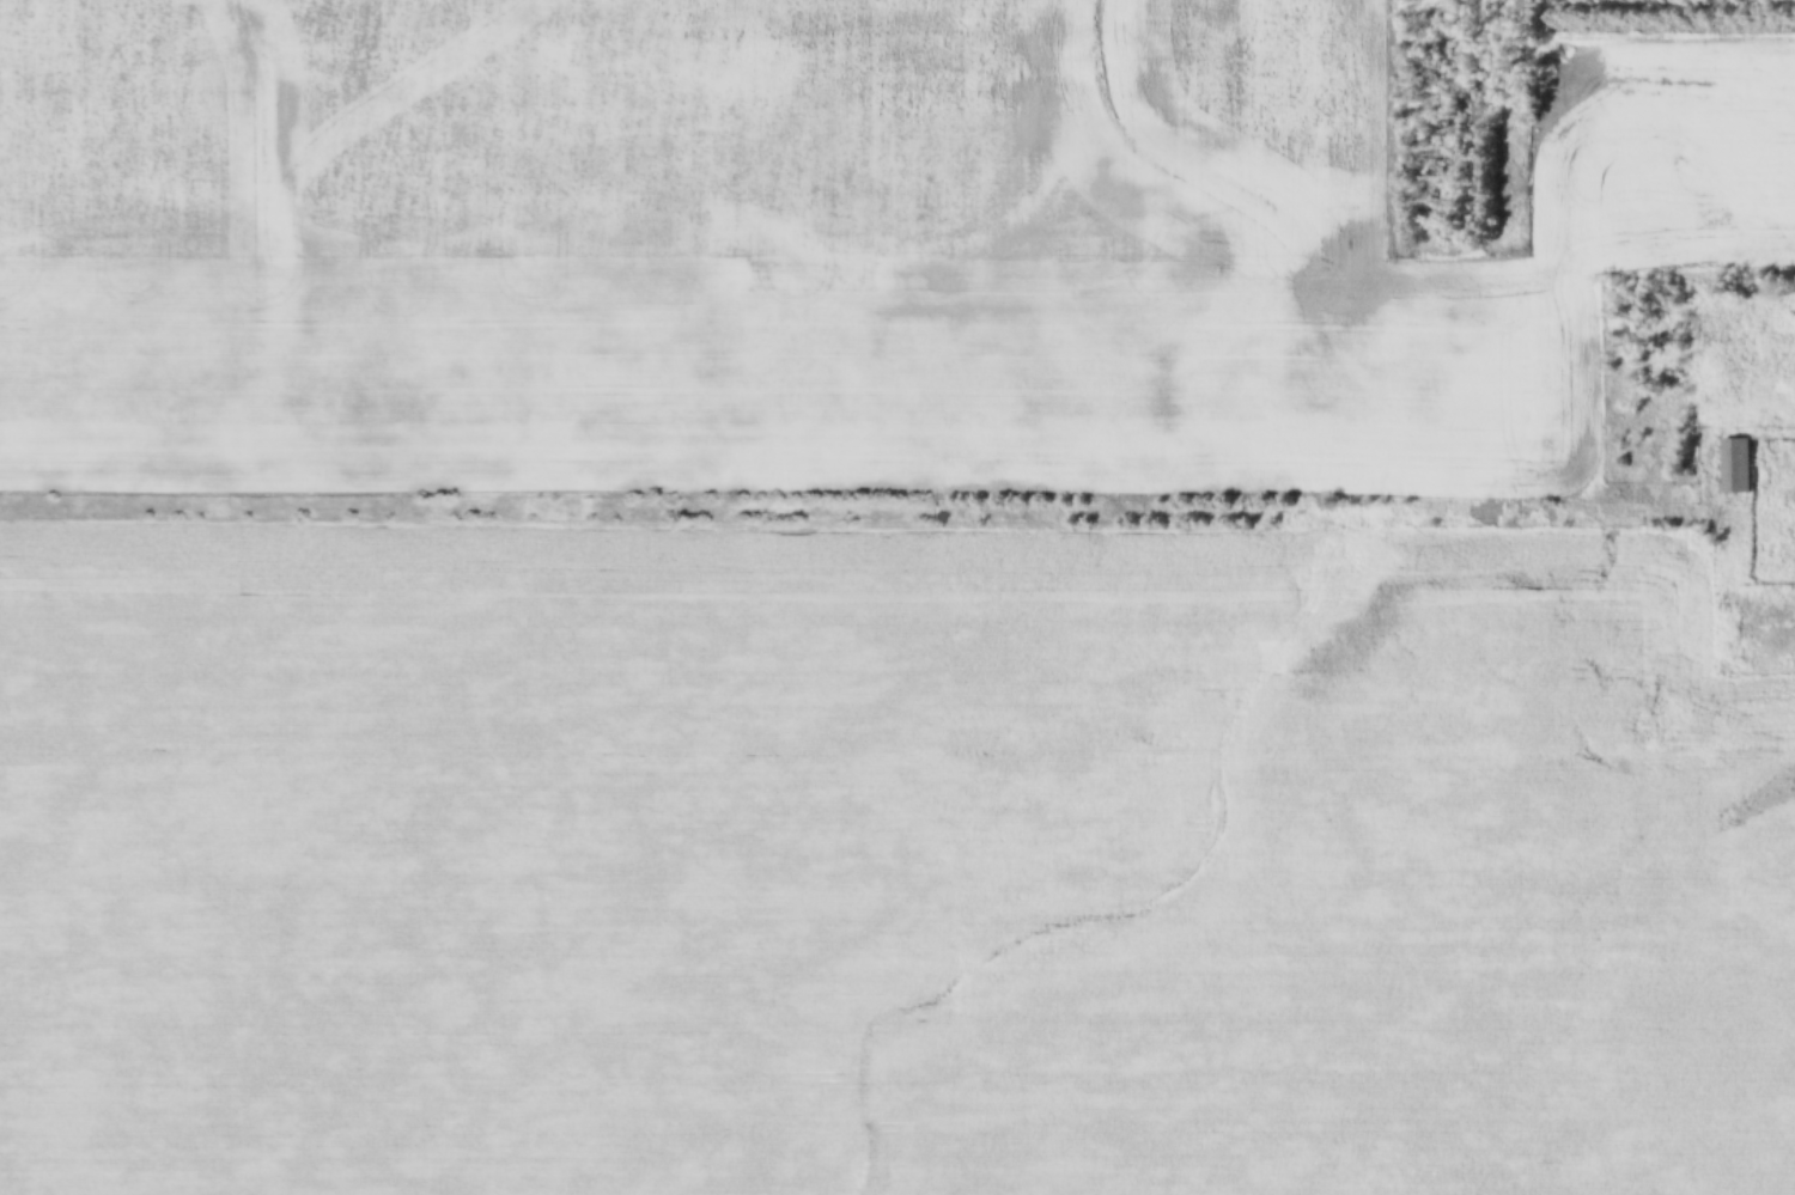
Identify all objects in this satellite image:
building: (1735, 464)

